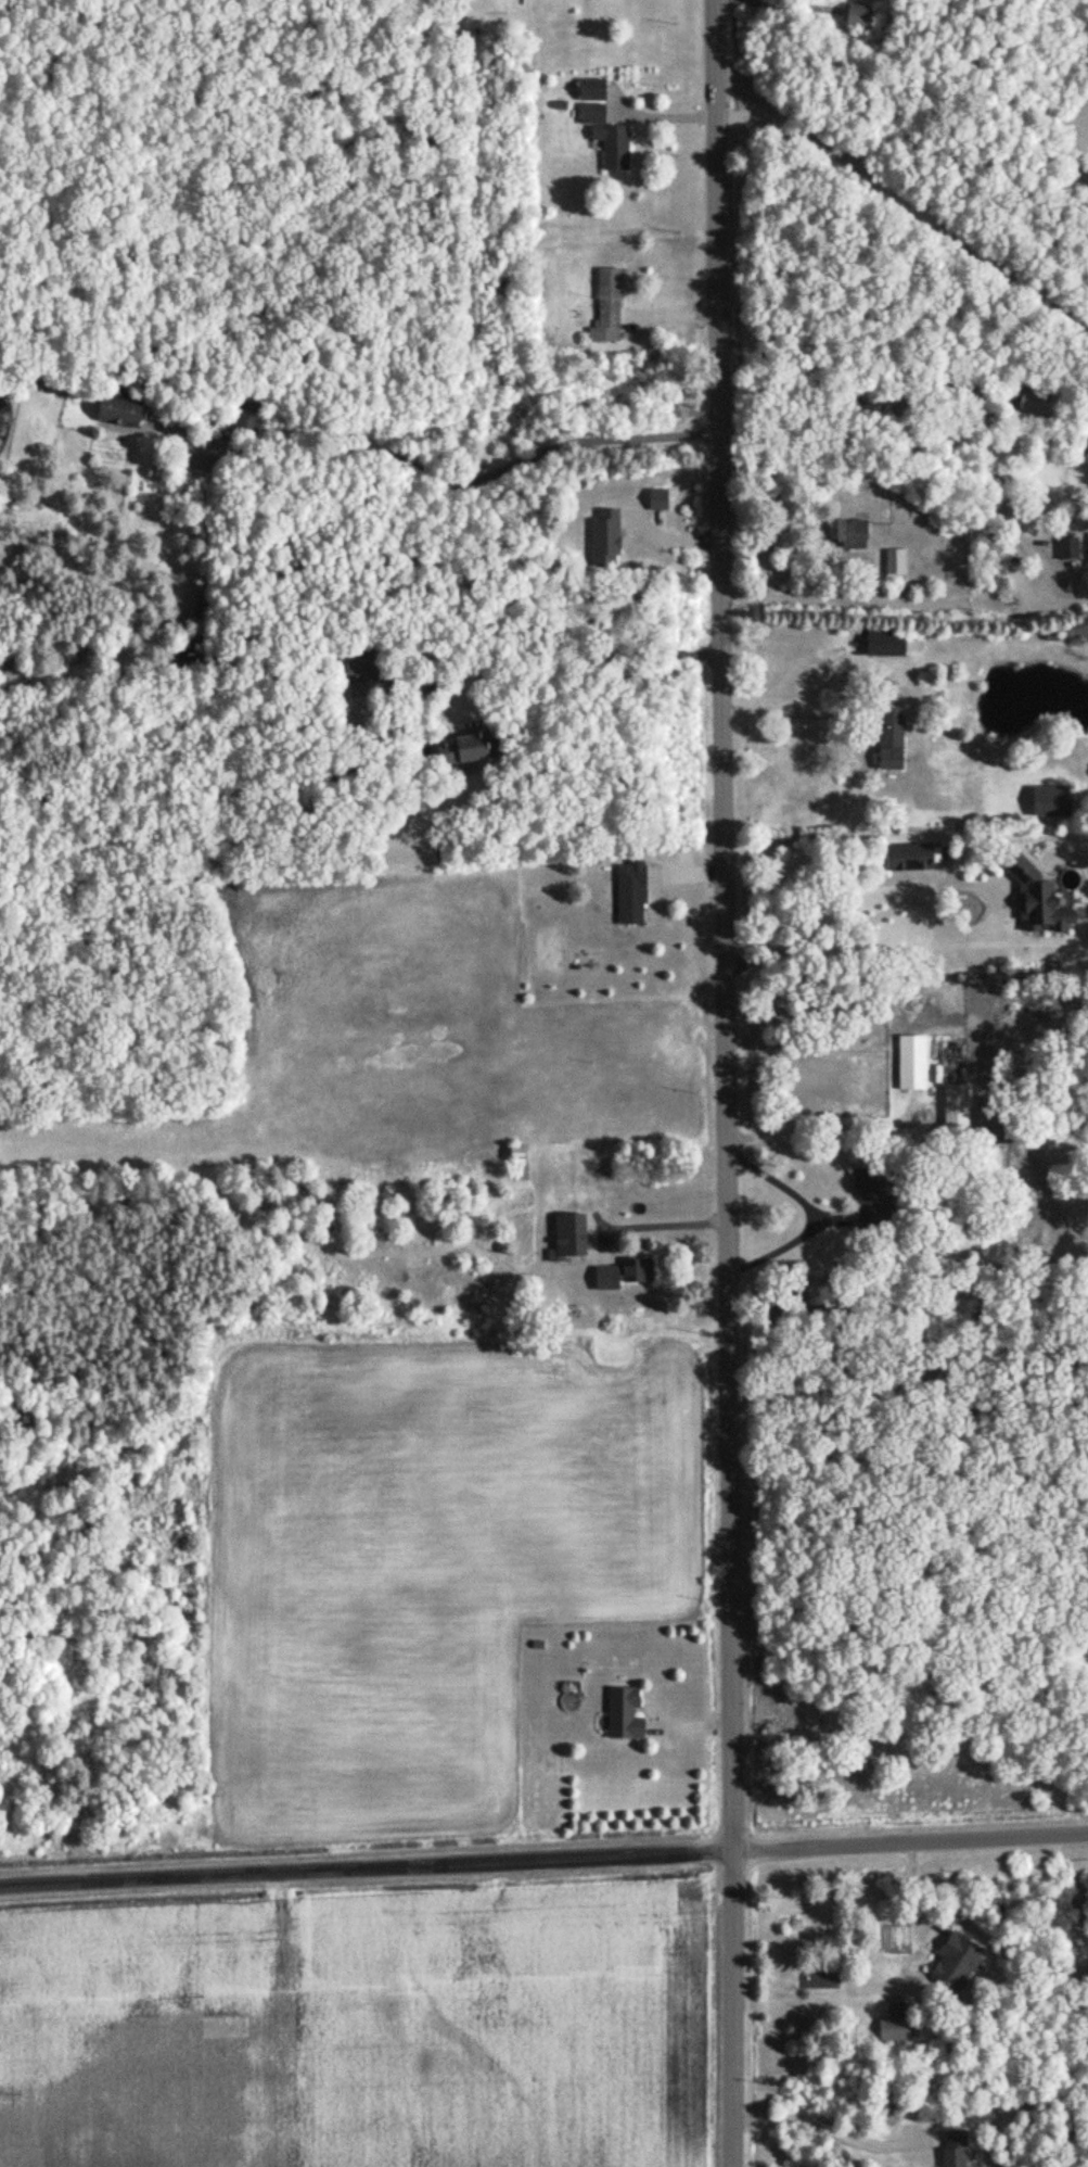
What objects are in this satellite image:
building: (857, 17)
building: (590, 89)
building: (606, 137)
building: (607, 306)
building: (117, 409)
building: (244, 409)
road: (463, 479)
building: (656, 498)
building: (845, 533)
building: (602, 537)
building: (1087, 541)
building: (1065, 548)
building: (893, 561)
road: (904, 601)
building: (883, 643)
building: (351, 662)
road: (783, 694)
building: (888, 738)
building: (459, 748)
building: (1049, 801)
building: (908, 857)
road: (912, 892)
building: (629, 894)
building: (1038, 902)
building: (911, 1062)
road: (726, 1082)
building: (955, 1107)
building: (516, 1164)
building: (866, 1194)
building: (1021, 1194)
road: (806, 1212)
building: (567, 1235)
building: (372, 1239)
building: (619, 1275)
building: (623, 1715)
road: (543, 1861)
building: (953, 1964)
building: (893, 2030)
road: (830, 2124)

